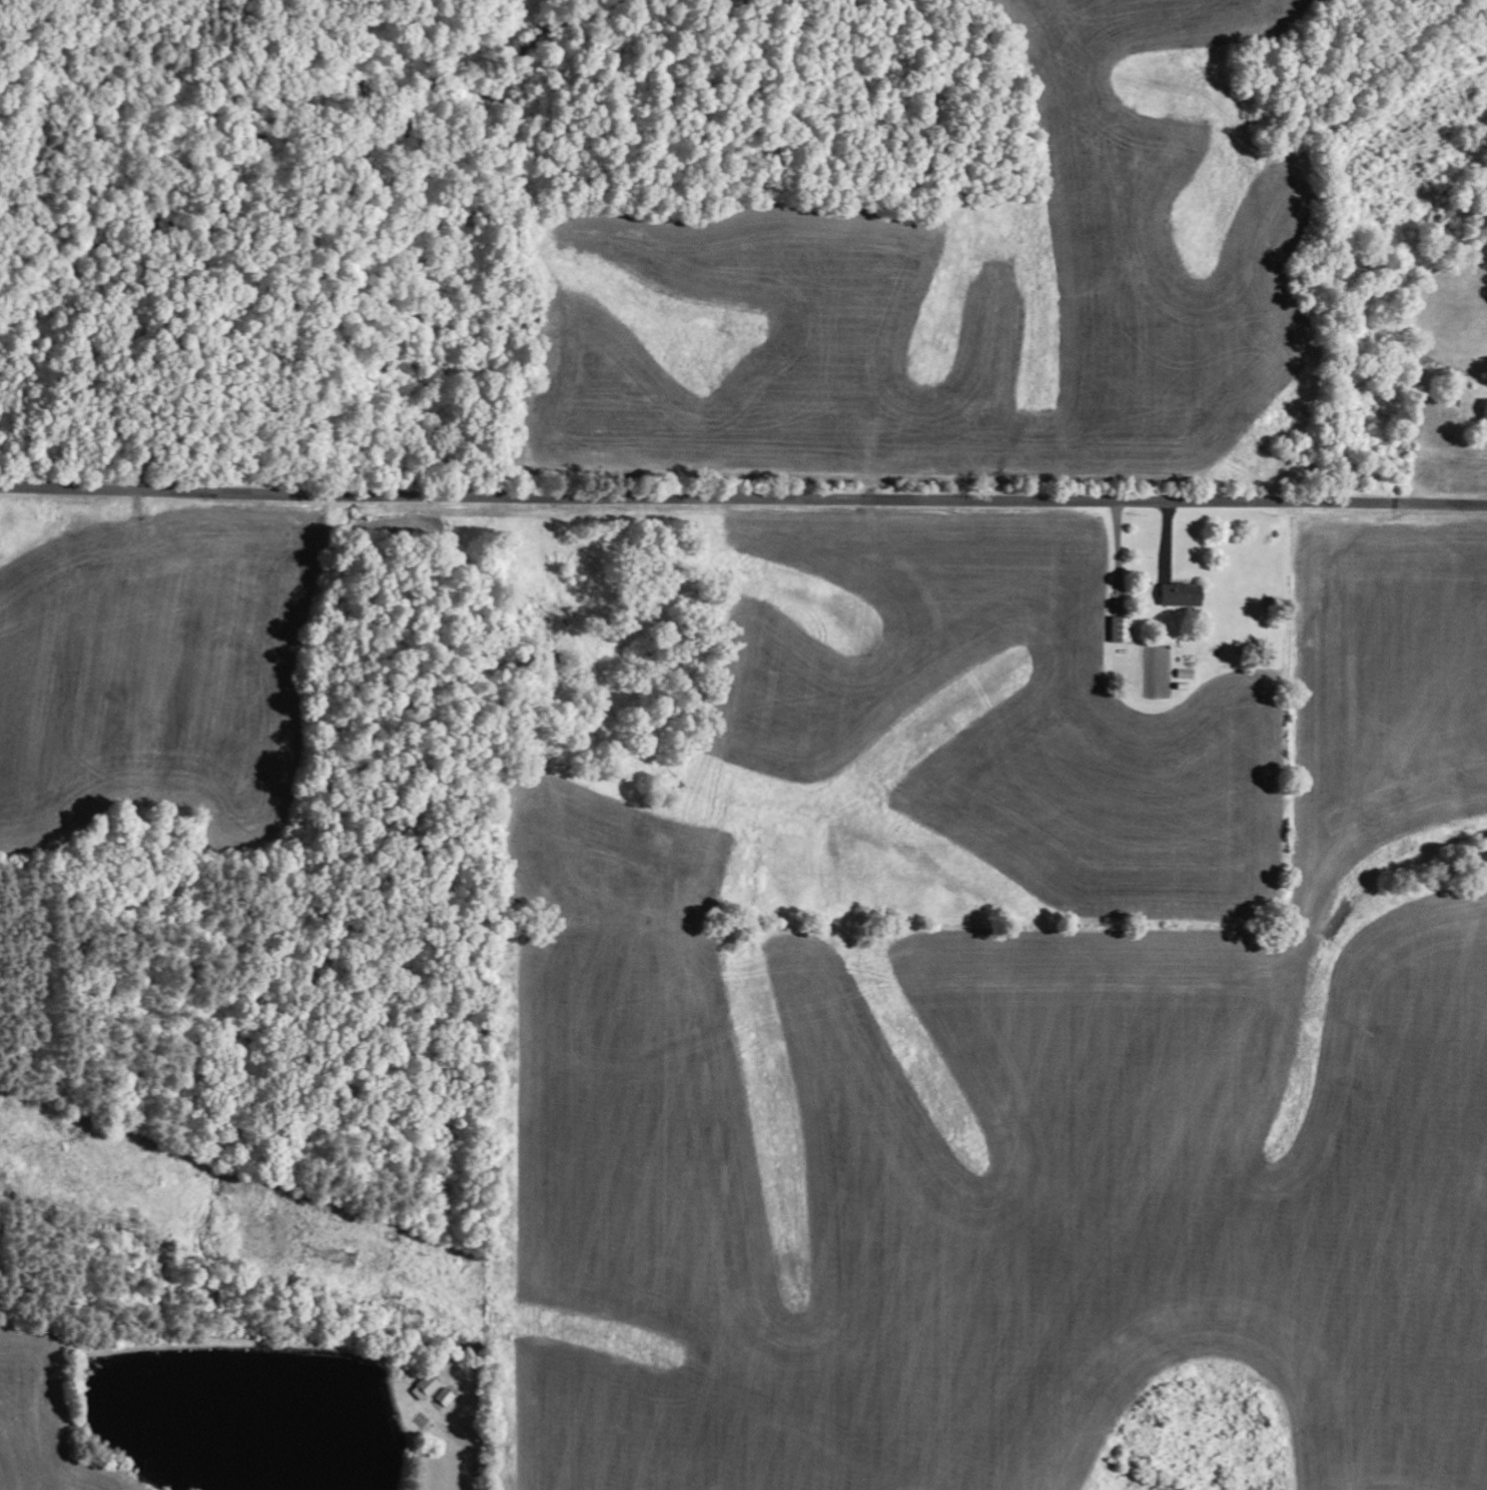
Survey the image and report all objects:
road: (743, 499)
building: (1185, 598)
building: (1124, 630)
power tower: (345, 1253)

